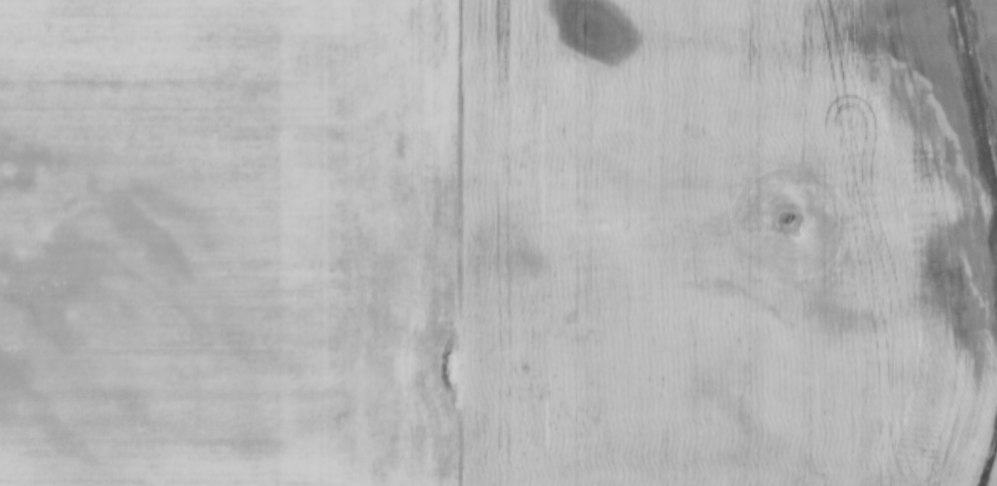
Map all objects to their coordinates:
building: (554, 391)

